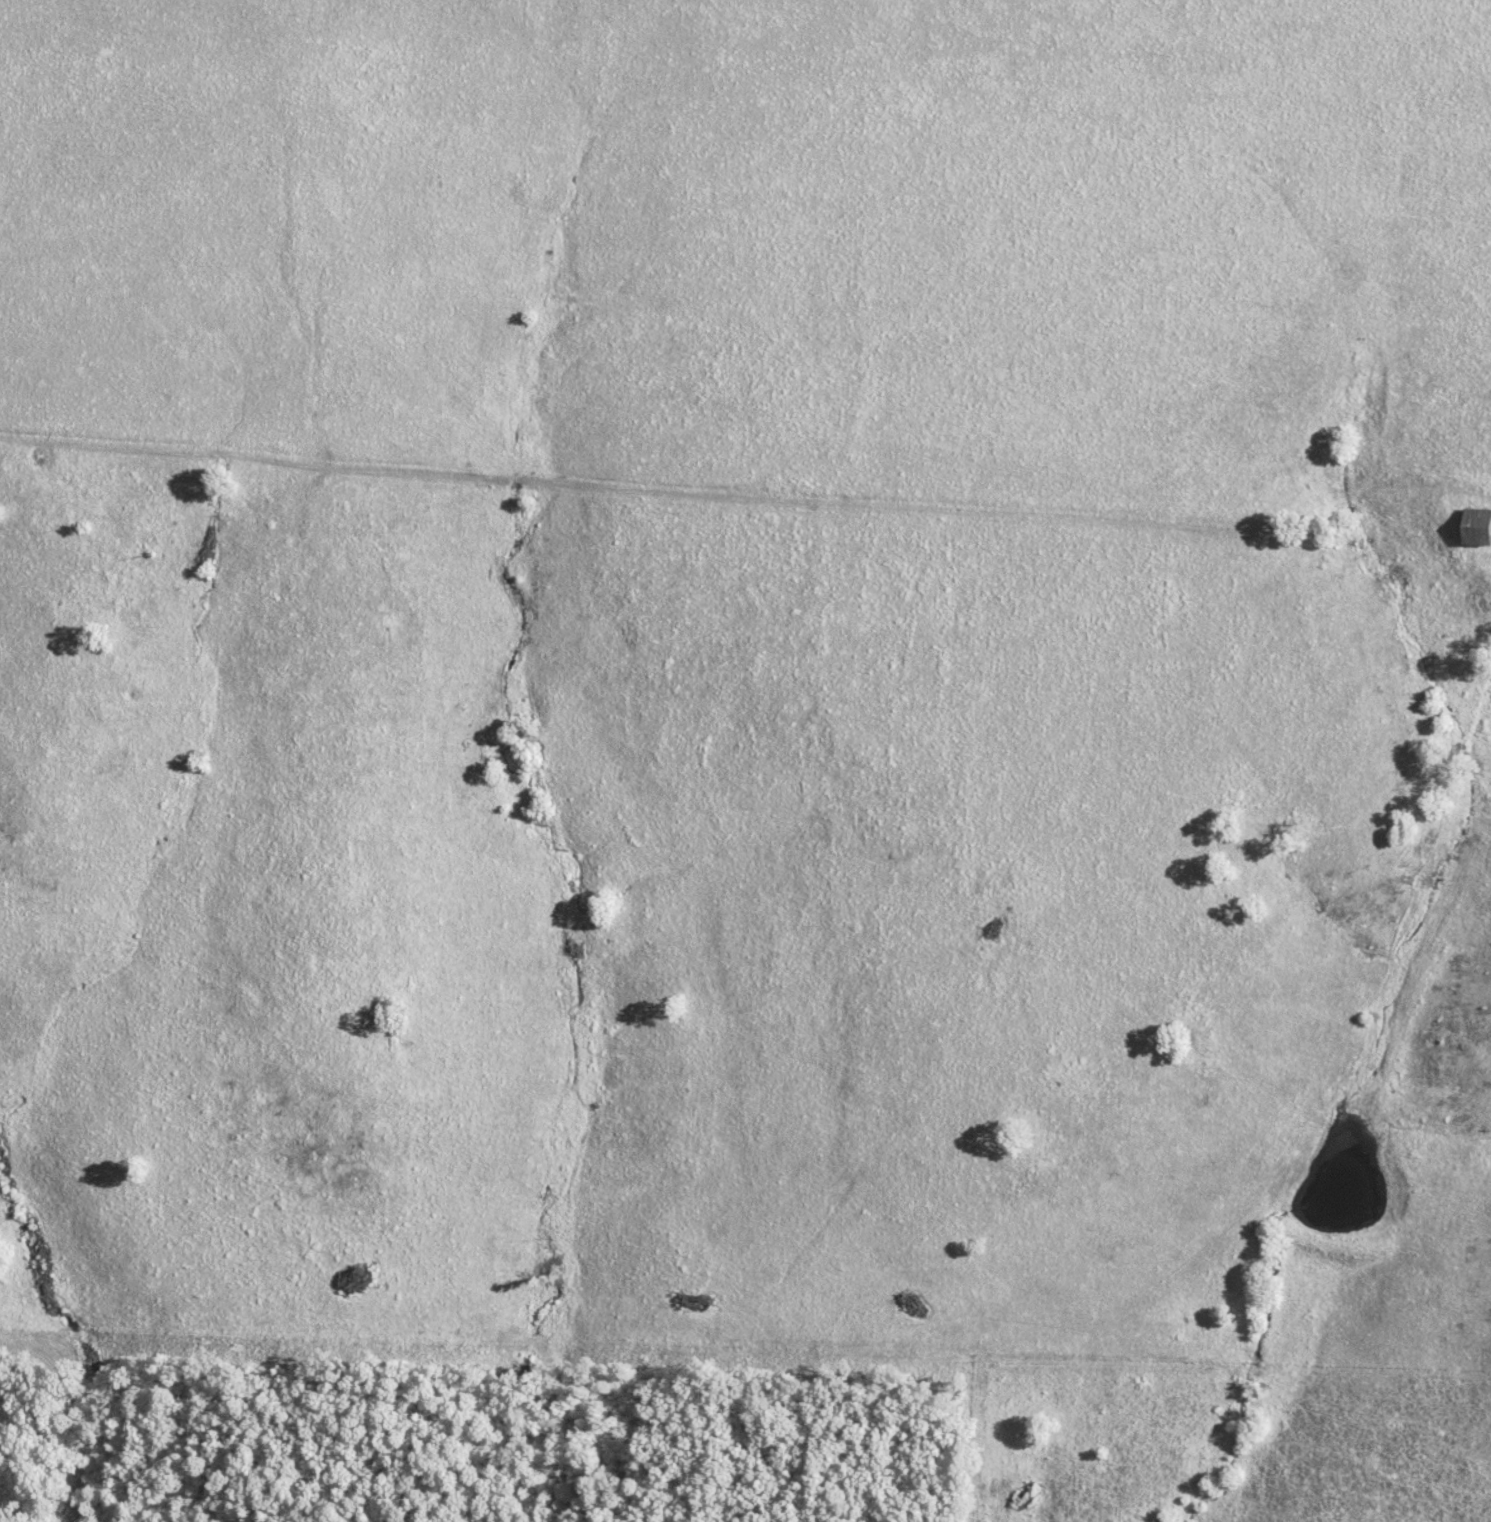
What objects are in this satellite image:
building: (1477, 526)

